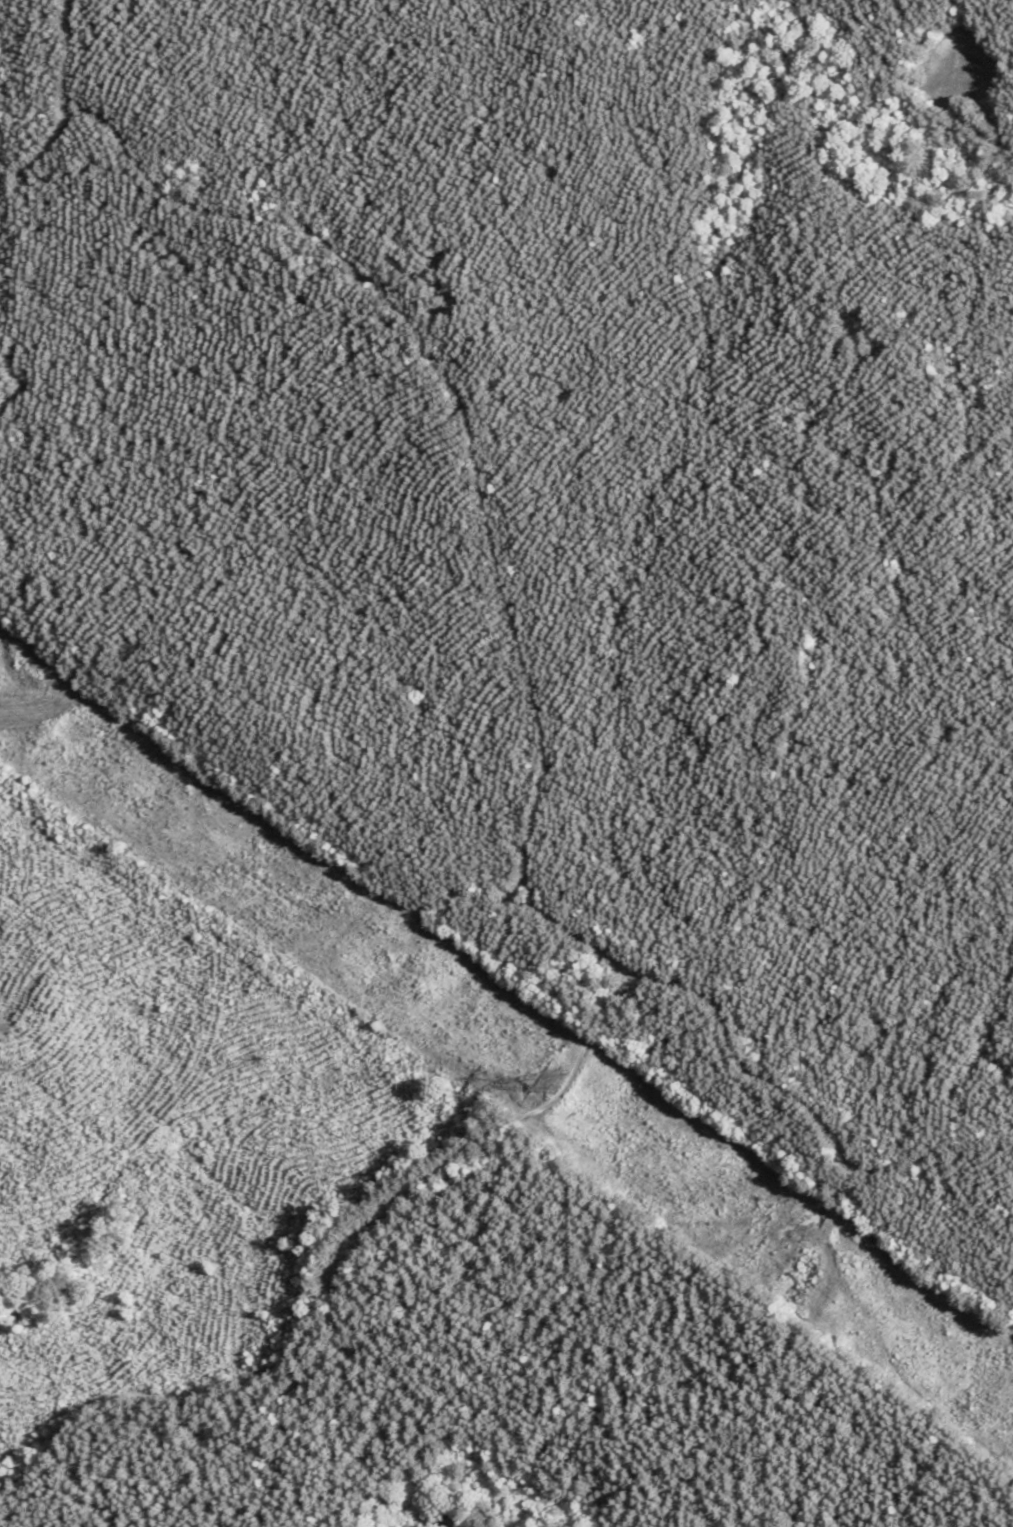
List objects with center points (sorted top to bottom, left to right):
power tower: (562, 1078)

